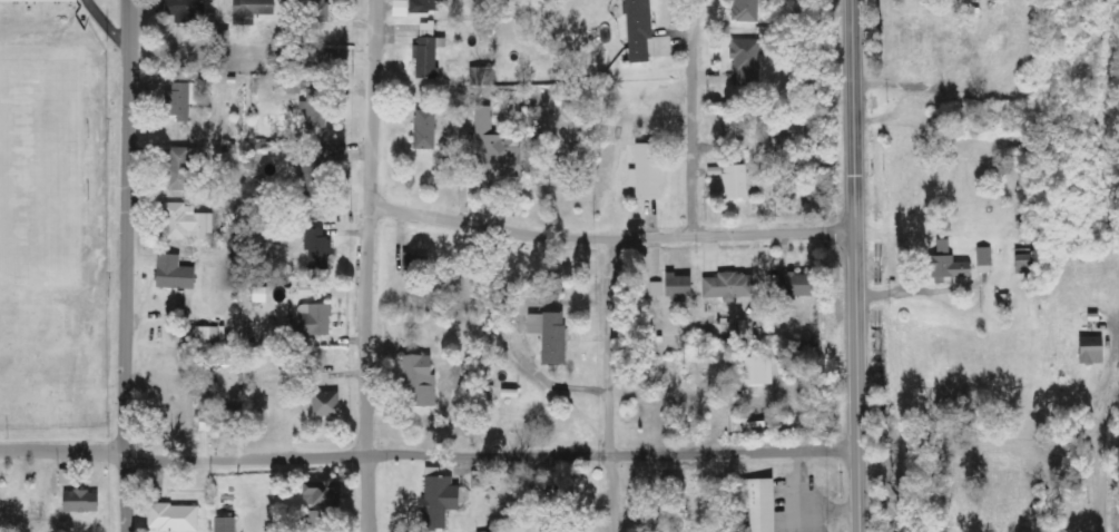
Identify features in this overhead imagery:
building: (26, 0)
building: (425, 7)
building: (186, 10)
building: (254, 10)
building: (746, 10)
building: (315, 11)
road: (106, 26)
building: (640, 30)
building: (430, 57)
building: (308, 60)
building: (747, 62)
building: (483, 77)
building: (294, 86)
building: (183, 100)
building: (317, 109)
building: (426, 130)
building: (491, 142)
road: (691, 148)
building: (184, 169)
building: (315, 170)
building: (650, 171)
building: (736, 183)
building: (188, 223)
road: (606, 236)
building: (320, 249)
building: (981, 259)
building: (1021, 263)
building: (411, 264)
building: (942, 264)
road: (362, 265)
road: (851, 265)
road: (124, 266)
building: (176, 274)
building: (791, 284)
building: (679, 285)
building: (730, 286)
building: (656, 288)
building: (317, 319)
building: (272, 333)
building: (552, 335)
building: (208, 337)
building: (1095, 349)
building: (758, 370)
building: (421, 378)
road: (603, 384)
building: (327, 405)
building: (218, 423)
road: (60, 452)
road: (485, 456)
road: (1100, 480)
building: (478, 481)
building: (575, 489)
building: (325, 495)
building: (441, 500)
building: (82, 501)
building: (760, 503)
building: (174, 518)
building: (226, 524)
building: (558, 531)

